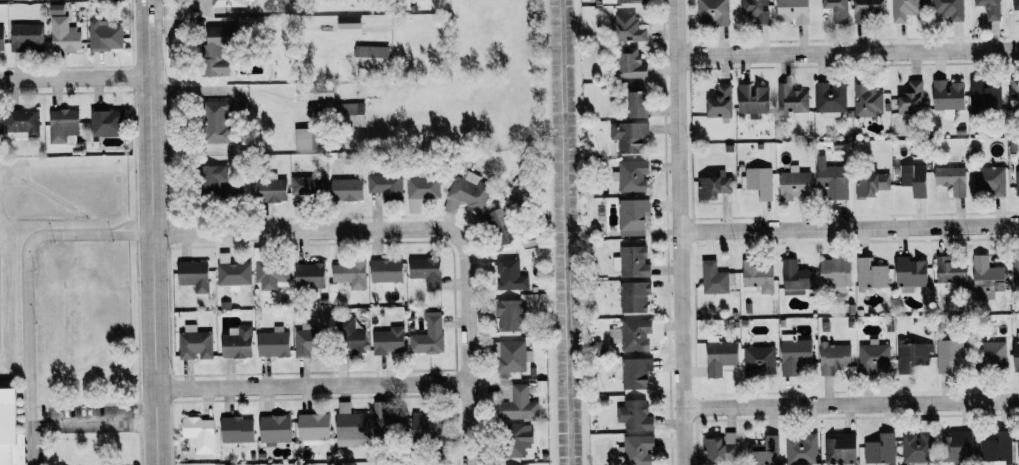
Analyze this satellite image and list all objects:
building: (621, 1)
building: (228, 3)
building: (1016, 5)
road: (170, 8)
building: (869, 8)
building: (950, 8)
building: (904, 9)
building: (991, 9)
building: (755, 10)
building: (713, 11)
building: (794, 11)
building: (627, 27)
building: (350, 28)
building: (25, 33)
building: (64, 34)
building: (105, 35)
building: (1, 38)
road: (847, 51)
building: (215, 52)
building: (370, 56)
building: (630, 63)
road: (73, 82)
road: (230, 91)
building: (314, 91)
building: (1015, 93)
building: (948, 95)
building: (984, 95)
building: (912, 97)
building: (753, 99)
building: (791, 99)
building: (829, 99)
building: (867, 100)
building: (721, 101)
building: (638, 104)
building: (350, 114)
building: (215, 121)
building: (21, 122)
building: (107, 122)
building: (63, 124)
building: (290, 137)
building: (632, 137)
building: (303, 138)
building: (632, 175)
building: (212, 176)
building: (914, 178)
building: (952, 179)
building: (989, 180)
building: (759, 181)
building: (833, 181)
building: (1017, 182)
building: (794, 183)
building: (871, 184)
building: (308, 185)
building: (385, 185)
building: (713, 187)
building: (347, 189)
building: (421, 189)
building: (270, 190)
building: (470, 190)
building: (633, 217)
road: (849, 226)
road: (263, 230)
building: (509, 231)
road: (155, 232)
road: (679, 232)
building: (632, 261)
building: (1016, 270)
building: (427, 271)
building: (232, 272)
building: (386, 272)
building: (350, 273)
building: (508, 273)
building: (836, 273)
building: (911, 273)
building: (952, 273)
building: (871, 274)
building: (194, 275)
building: (271, 275)
building: (310, 275)
building: (988, 275)
building: (758, 276)
building: (796, 277)
building: (714, 278)
building: (635, 296)
road: (465, 302)
building: (510, 315)
road: (28, 334)
building: (428, 335)
building: (632, 335)
building: (349, 337)
building: (389, 341)
building: (274, 342)
building: (306, 342)
building: (195, 343)
building: (238, 343)
building: (1017, 351)
building: (795, 354)
building: (951, 354)
building: (994, 354)
building: (913, 355)
building: (511, 356)
building: (721, 356)
building: (834, 357)
building: (874, 357)
building: (760, 359)
building: (636, 373)
road: (313, 387)
building: (516, 402)
road: (851, 403)
building: (635, 415)
building: (383, 418)
building: (426, 424)
building: (9, 426)
building: (351, 426)
building: (313, 428)
building: (237, 429)
building: (275, 429)
building: (200, 434)
building: (518, 439)
road: (31, 445)
building: (1018, 445)
building: (958, 446)
building: (916, 447)
building: (720, 448)
building: (998, 448)
building: (802, 449)
building: (841, 449)
building: (881, 449)
building: (637, 450)
building: (765, 451)

